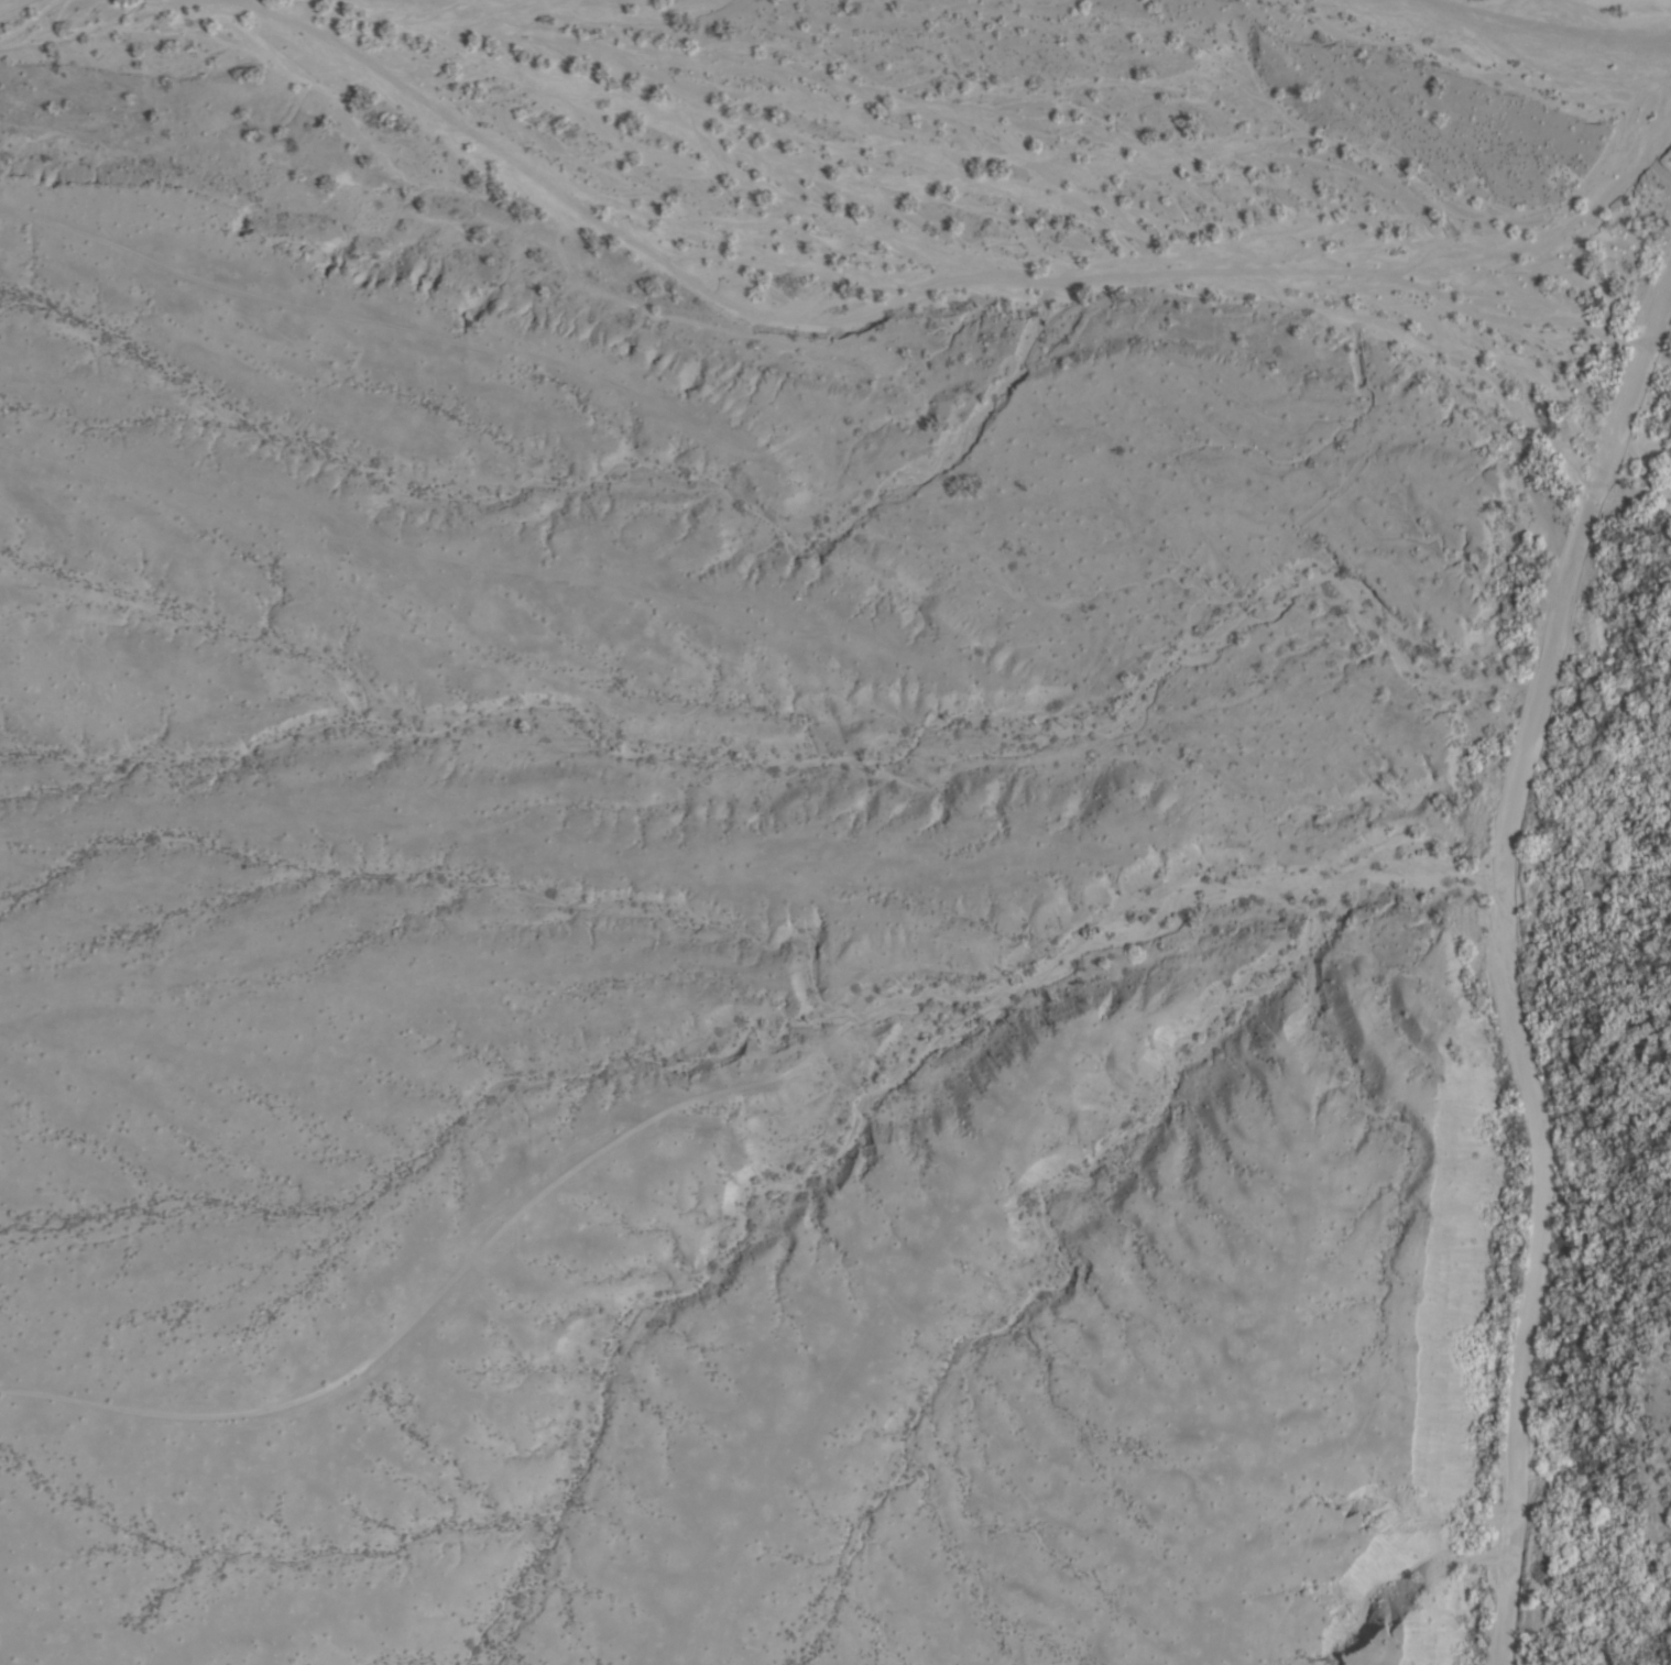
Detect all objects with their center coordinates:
road: (1501, 1417)

